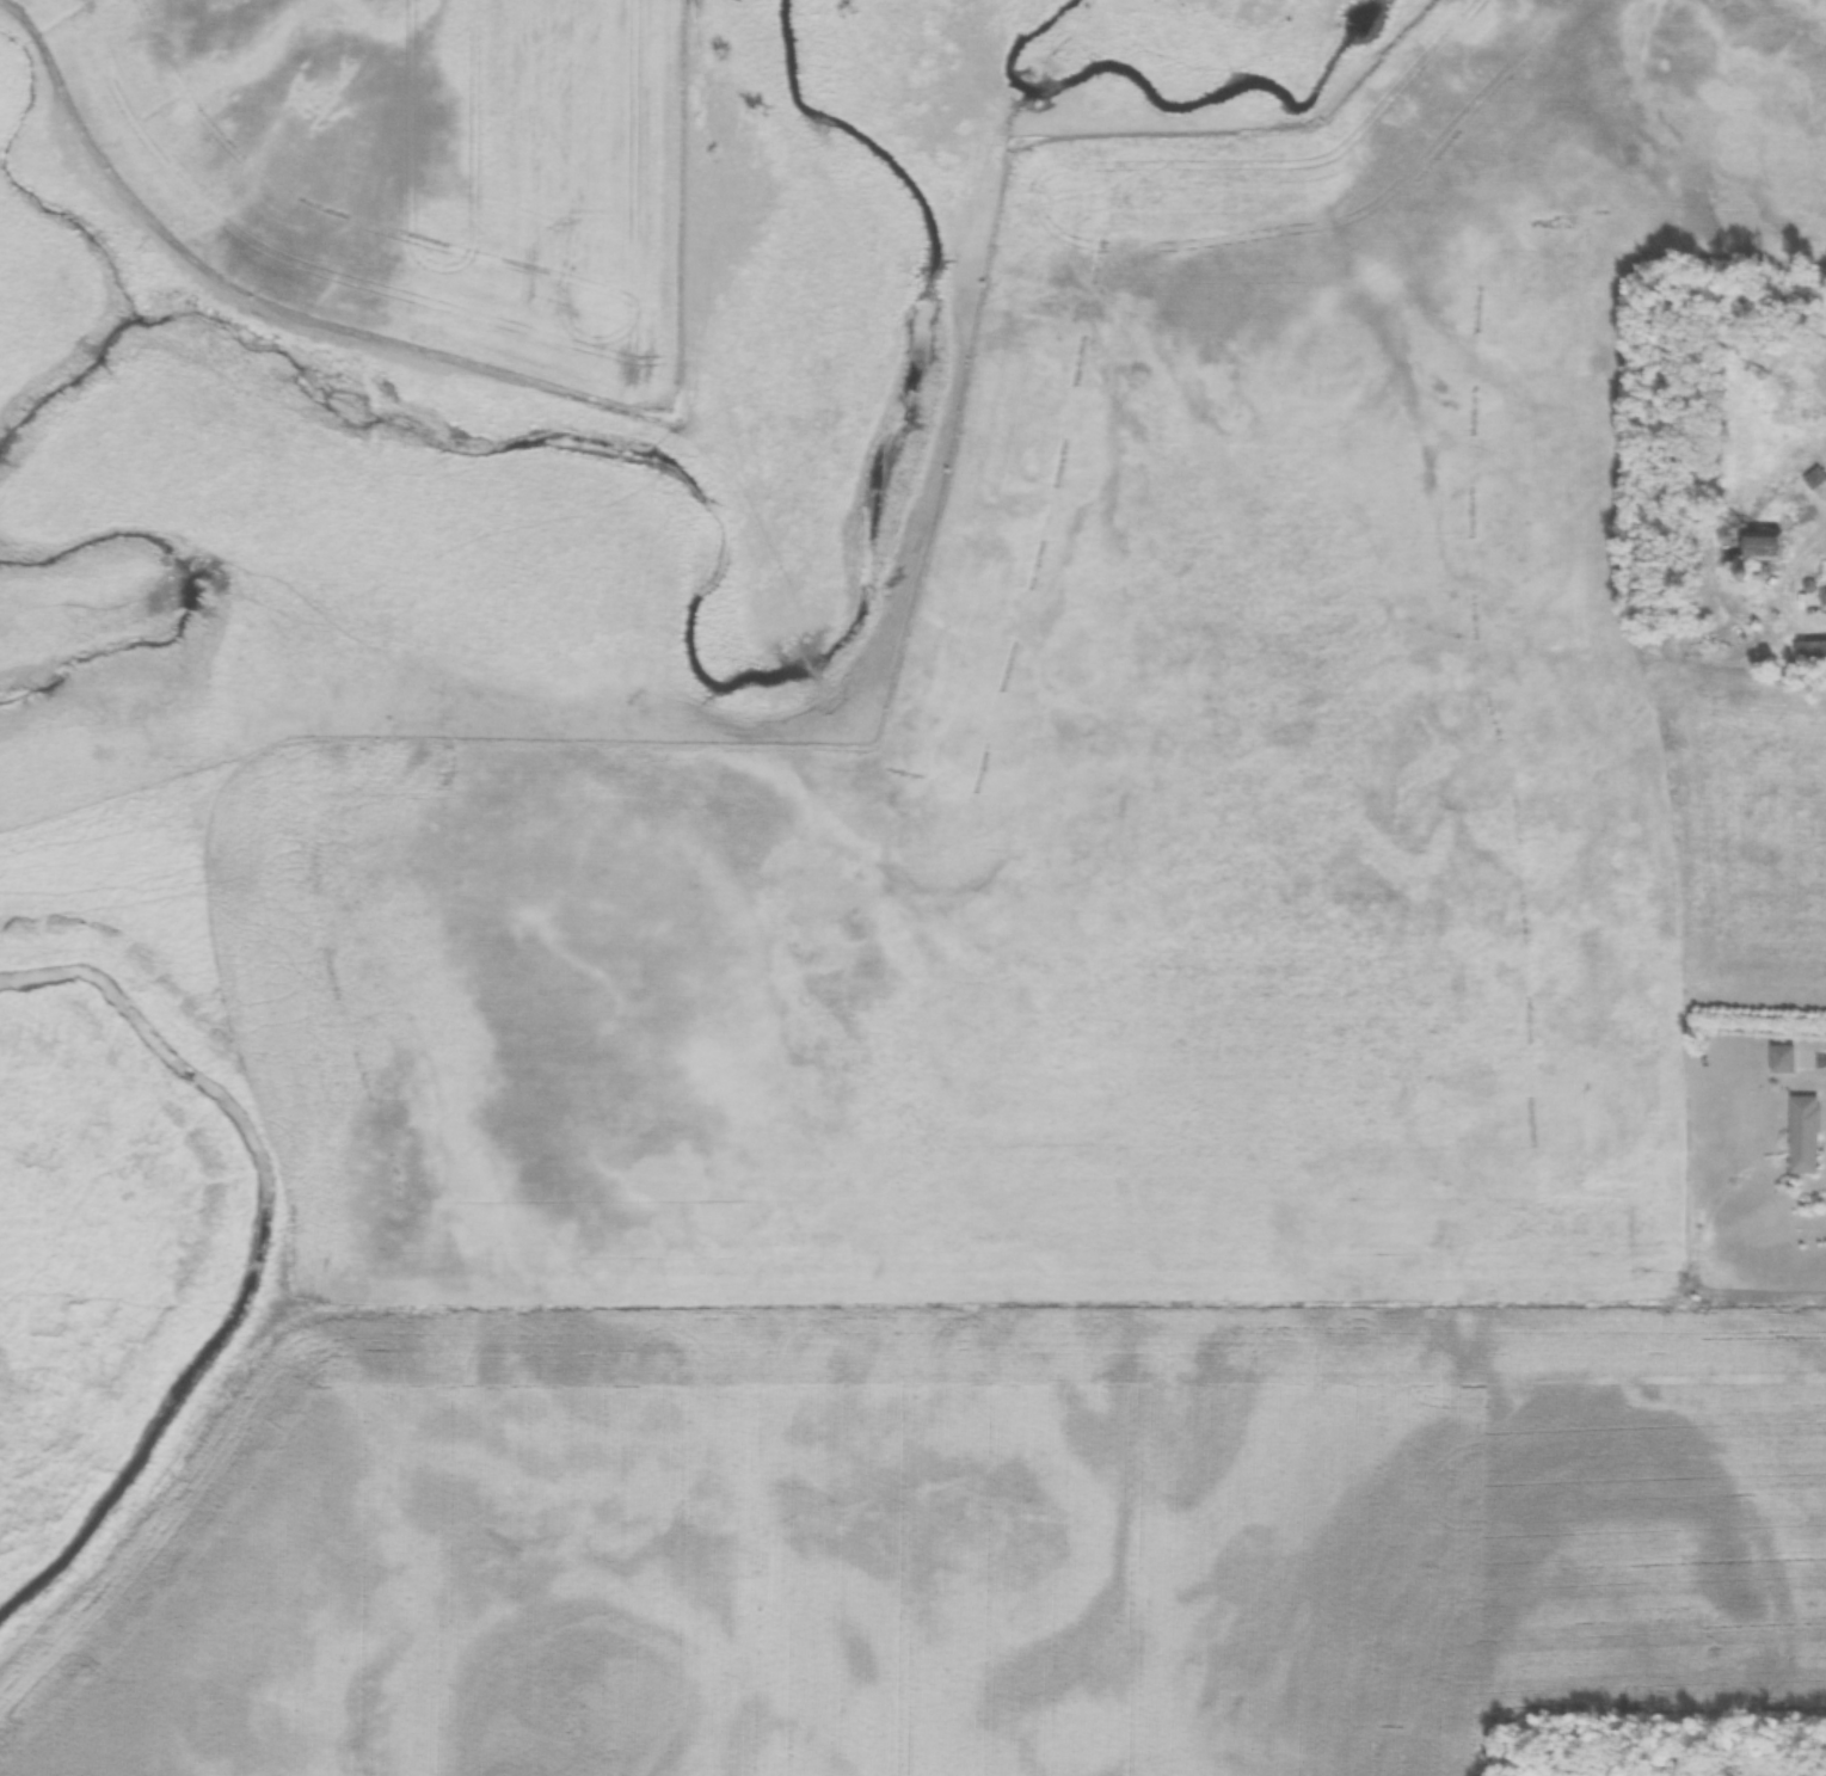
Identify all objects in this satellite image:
building: (1813, 478)
building: (1752, 551)
building: (1822, 598)
building: (1812, 657)
building: (1783, 1059)
building: (1806, 1135)

